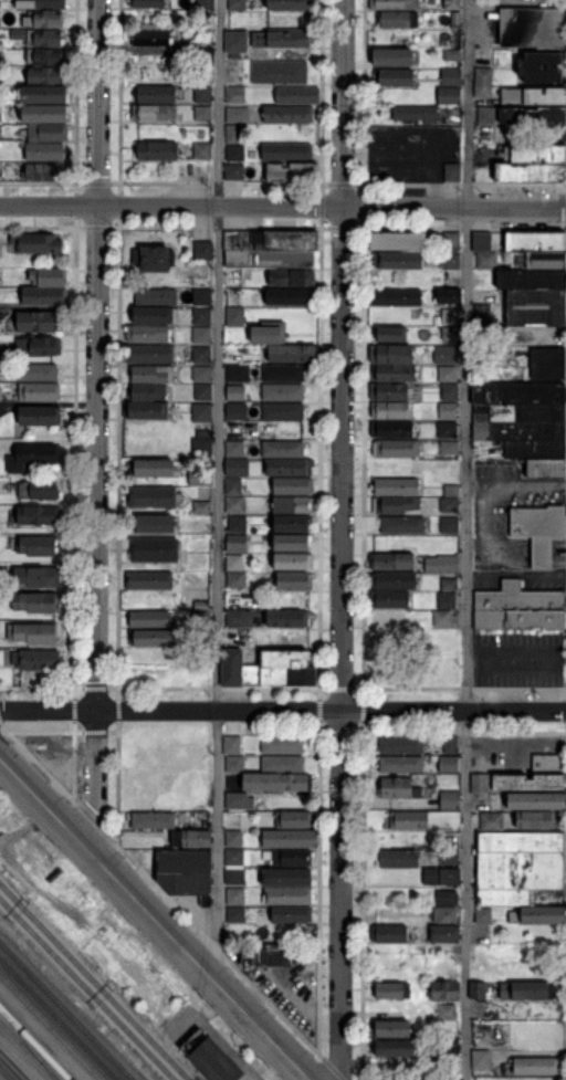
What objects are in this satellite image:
building: (146, 2)
building: (41, 3)
building: (237, 3)
building: (207, 4)
building: (290, 4)
building: (394, 4)
building: (452, 4)
building: (43, 19)
building: (398, 20)
building: (454, 20)
building: (533, 28)
parking lot: (484, 30)
building: (40, 36)
building: (150, 38)
building: (258, 39)
building: (287, 39)
building: (238, 41)
building: (0, 54)
building: (451, 54)
building: (45, 56)
building: (203, 56)
building: (391, 57)
building: (541, 66)
building: (280, 72)
building: (46, 75)
building: (0, 76)
building: (451, 76)
building: (396, 78)
building: (483, 83)
building: (45, 94)
building: (155, 94)
building: (202, 94)
building: (237, 94)
building: (448, 94)
building: (297, 95)
building: (534, 96)
building: (154, 112)
building: (45, 113)
building: (202, 113)
building: (0, 114)
building: (238, 114)
building: (287, 114)
building: (415, 114)
building: (488, 115)
building: (533, 115)
building: (48, 133)
building: (234, 134)
building: (199, 149)
building: (44, 151)
building: (158, 151)
building: (287, 151)
building: (235, 153)
building: (536, 154)
building: (8, 171)
building: (40, 171)
building: (232, 171)
building: (292, 171)
building: (452, 172)
building: (530, 172)
parking lot: (521, 191)
road: (282, 205)
building: (271, 240)
building: (535, 240)
building: (397, 241)
building: (452, 241)
building: (481, 241)
building: (36, 243)
building: (201, 250)
building: (153, 259)
building: (269, 259)
building: (398, 260)
building: (451, 260)
building: (486, 260)
building: (538, 261)
building: (48, 276)
building: (233, 277)
building: (291, 277)
building: (532, 280)
building: (43, 295)
building: (447, 295)
building: (200, 296)
building: (286, 296)
building: (156, 297)
building: (394, 297)
building: (534, 308)
building: (155, 315)
building: (200, 315)
building: (449, 315)
building: (482, 315)
building: (233, 316)
building: (39, 322)
building: (390, 333)
building: (449, 333)
building: (147, 334)
building: (266, 334)
building: (200, 335)
building: (38, 346)
building: (292, 353)
building: (149, 354)
building: (390, 354)
building: (200, 355)
building: (446, 355)
building: (547, 363)
building: (36, 373)
building: (200, 373)
building: (237, 373)
building: (395, 373)
building: (447, 373)
building: (153, 374)
building: (283, 374)
building: (0, 388)
building: (234, 390)
building: (39, 391)
building: (147, 391)
building: (202, 391)
building: (388, 391)
building: (449, 391)
building: (282, 392)
building: (520, 394)
building: (389, 409)
building: (147, 410)
building: (283, 410)
building: (237, 411)
building: (448, 411)
building: (201, 412)
building: (520, 412)
building: (38, 416)
road: (96, 428)
building: (390, 429)
building: (446, 429)
building: (520, 430)
building: (203, 433)
building: (201, 447)
building: (449, 447)
building: (234, 448)
building: (396, 448)
building: (282, 449)
building: (535, 449)
building: (31, 457)
building: (237, 465)
building: (151, 466)
building: (289, 466)
building: (546, 468)
building: (200, 478)
building: (233, 485)
building: (292, 486)
building: (396, 486)
building: (38, 490)
building: (450, 490)
road: (218, 491)
building: (151, 496)
building: (234, 504)
building: (293, 504)
building: (395, 504)
building: (448, 505)
building: (200, 506)
building: (35, 515)
parking lot: (488, 522)
building: (154, 523)
building: (237, 523)
building: (291, 524)
building: (448, 524)
road: (486, 524)
building: (402, 525)
building: (539, 529)
road: (342, 539)
road: (469, 539)
building: (235, 542)
building: (291, 543)
building: (38, 545)
building: (154, 549)
building: (293, 562)
building: (392, 562)
building: (233, 563)
building: (441, 563)
building: (36, 577)
building: (235, 579)
building: (148, 580)
building: (293, 580)
building: (392, 580)
building: (448, 584)
building: (389, 598)
building: (446, 600)
building: (36, 602)
building: (201, 605)
building: (518, 608)
building: (148, 618)
building: (287, 618)
building: (389, 618)
building: (441, 618)
building: (199, 619)
building: (234, 619)
building: (35, 633)
building: (153, 637)
building: (200, 637)
parking lot: (520, 659)
building: (39, 660)
building: (268, 669)
road: (283, 709)
building: (43, 742)
building: (232, 744)
building: (283, 744)
building: (451, 744)
building: (402, 745)
building: (434, 758)
building: (549, 763)
building: (235, 764)
building: (283, 764)
building: (402, 764)
building: (449, 764)
building: (277, 782)
building: (530, 782)
building: (481, 783)
building: (398, 788)
building: (240, 799)
building: (450, 799)
building: (536, 800)
building: (154, 819)
building: (294, 819)
building: (424, 819)
building: (535, 819)
building: (491, 820)
building: (192, 838)
building: (234, 838)
building: (290, 838)
building: (234, 857)
building: (449, 857)
building: (292, 858)
building: (399, 858)
building: (520, 863)
building: (186, 872)
building: (233, 875)
building: (287, 877)
building: (443, 877)
building: (235, 895)
building: (289, 895)
building: (448, 896)
building: (292, 913)
building: (237, 914)
building: (446, 914)
building: (484, 914)
building: (544, 914)
road: (156, 920)
building: (389, 933)
building: (446, 933)
building: (275, 954)
railway: (94, 982)
railway: (87, 988)
building: (528, 989)
building: (392, 990)
building: (446, 990)
building: (479, 990)
parking lot: (289, 995)
railway: (66, 1010)
building: (447, 1013)
railway: (57, 1019)
railway: (51, 1027)
building: (389, 1029)
railway: (35, 1042)
railway: (29, 1044)
building: (396, 1048)
building: (453, 1048)
railway: (28, 1050)
building: (210, 1058)
power substation: (210, 1058)
building: (482, 1060)
building: (534, 1066)
railway: (12, 1067)
railway: (4, 1073)

